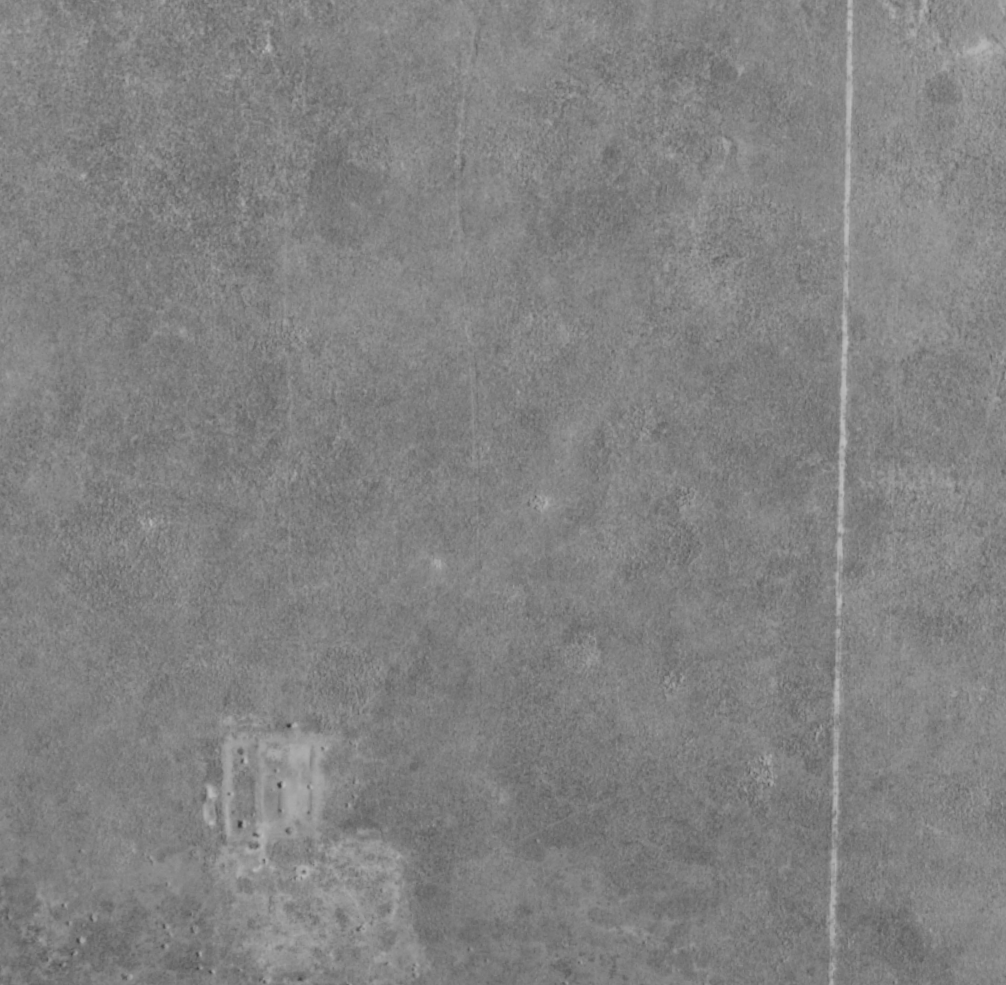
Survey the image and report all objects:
road: (832, 492)

